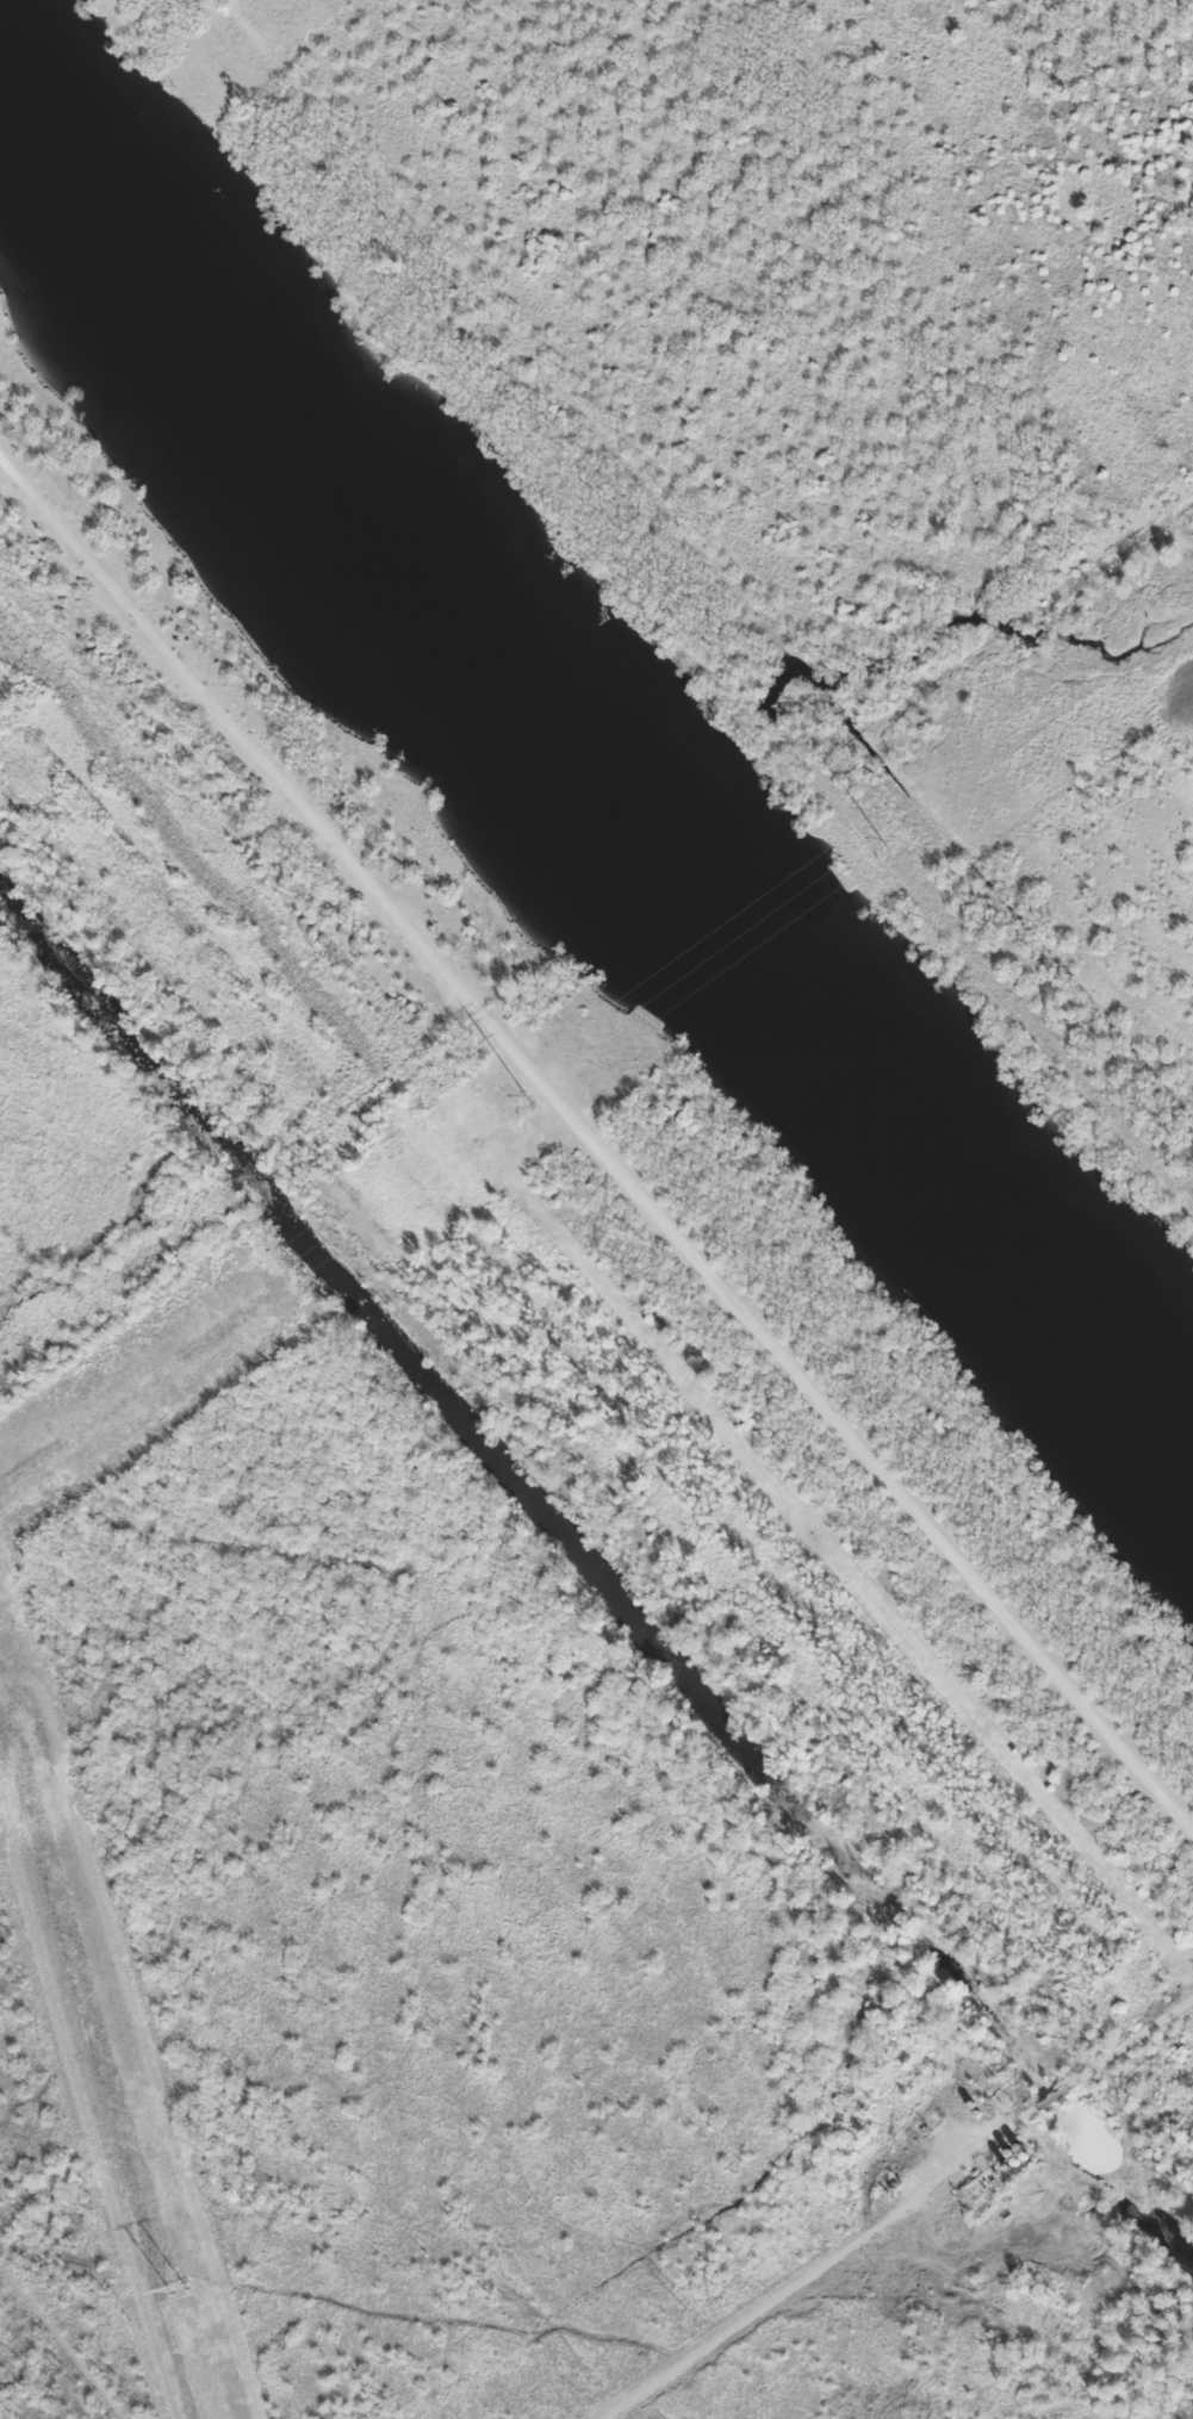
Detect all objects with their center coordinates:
power tower: (884, 844)
power tower: (530, 1102)
road: (596, 1138)
road: (1129, 2045)
road: (1056, 2097)
road: (824, 2261)
power tower: (178, 2289)

